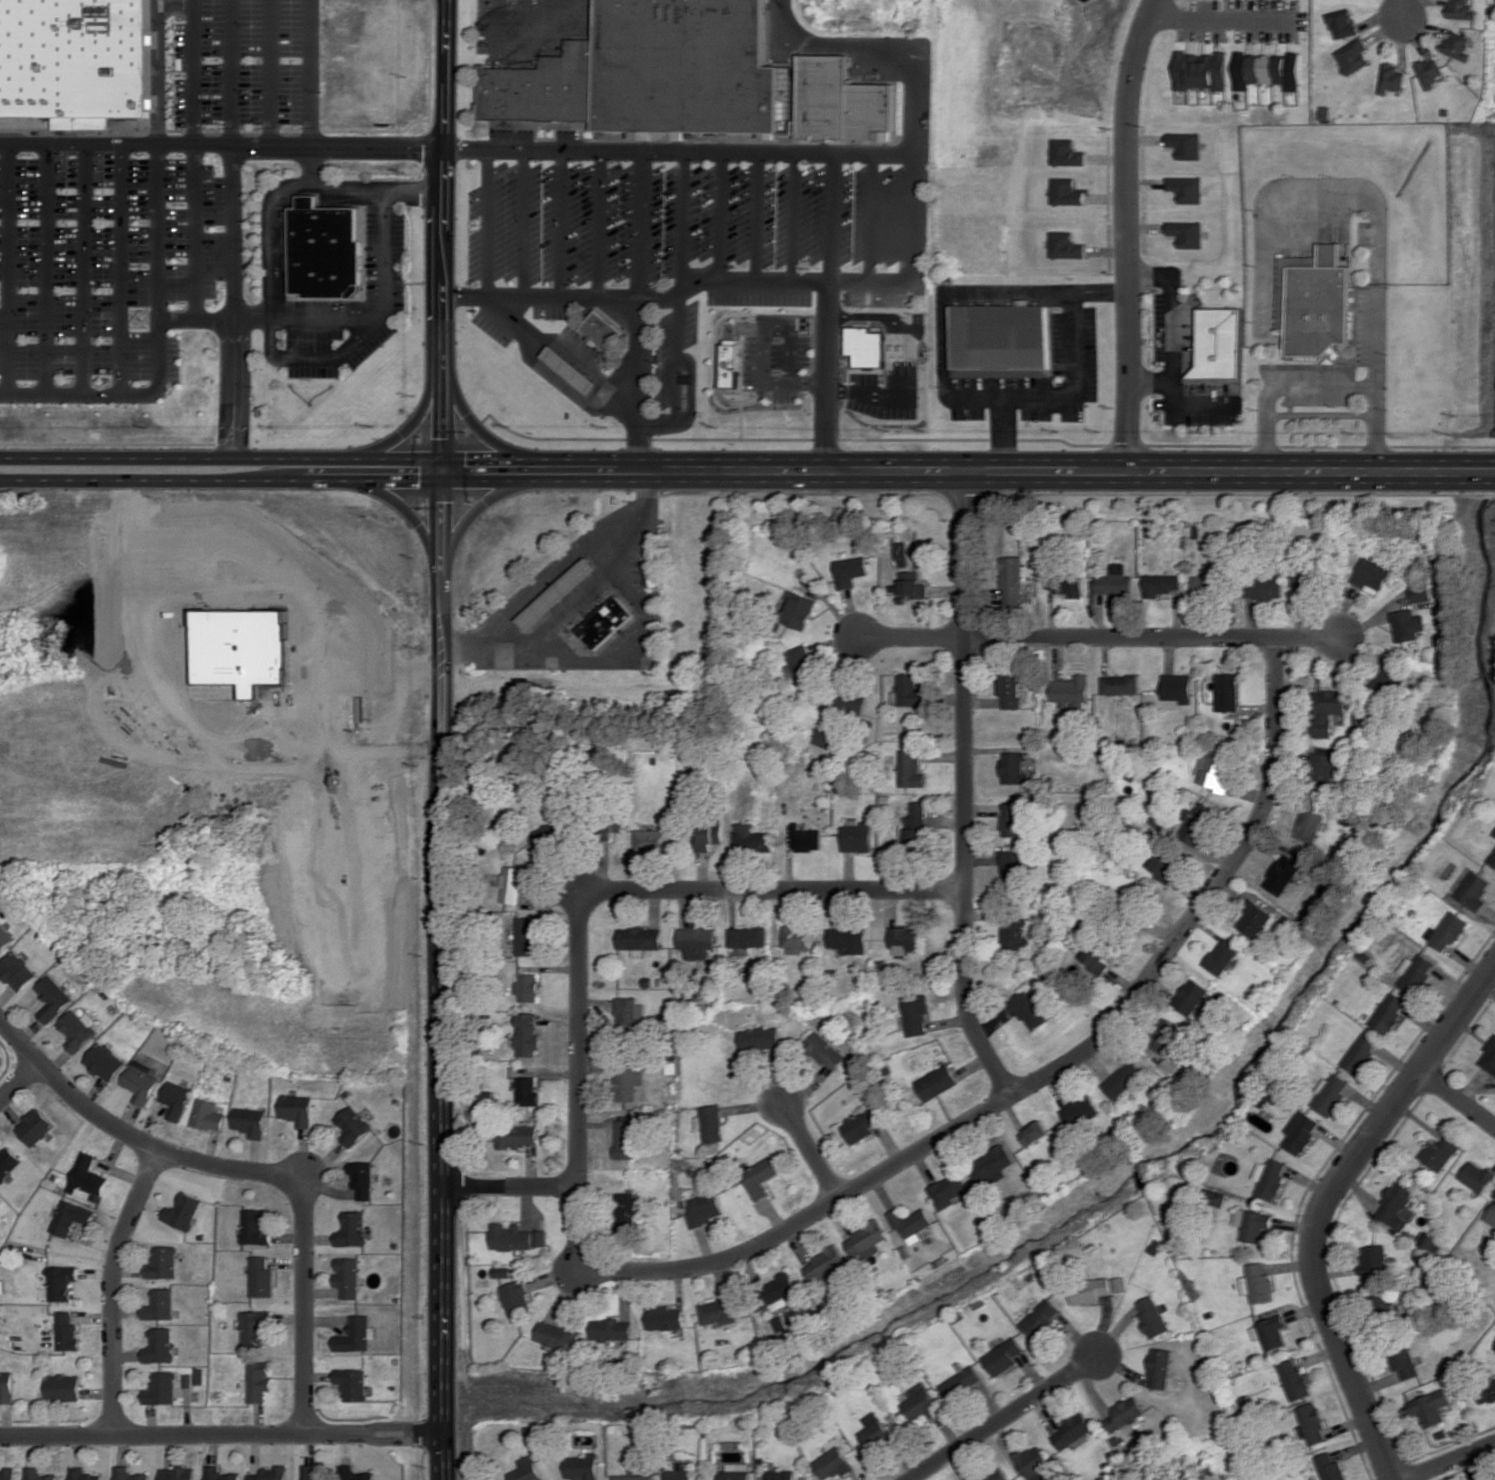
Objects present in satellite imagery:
road: (1397, 6)
building: (1462, 9)
building: (1341, 22)
road: (1219, 23)
building: (1458, 46)
building: (1352, 56)
building: (77, 61)
building: (1267, 70)
building: (1202, 71)
building: (1429, 72)
road: (268, 73)
building: (650, 75)
building: (1390, 78)
road: (305, 98)
building: (845, 101)
building: (482, 126)
building: (1186, 145)
road: (223, 147)
building: (1067, 152)
road: (681, 158)
road: (193, 163)
building: (1185, 188)
building: (1067, 192)
road: (916, 194)
parking lot: (146, 210)
road: (717, 222)
road: (754, 222)
road: (791, 222)
road: (832, 222)
road: (872, 222)
road: (231, 227)
road: (488, 228)
road: (524, 229)
road: (561, 229)
road: (597, 229)
road: (638, 229)
parking lot: (701, 230)
road: (1124, 233)
building: (1185, 233)
road: (1380, 235)
building: (1066, 245)
building: (325, 256)
road: (3, 273)
road: (42, 273)
road: (80, 273)
road: (118, 274)
road: (985, 297)
road: (562, 301)
building: (1313, 302)
road: (677, 312)
parking lot: (346, 316)
road: (271, 322)
road: (900, 324)
road: (269, 326)
road: (780, 326)
parking lot: (494, 330)
building: (609, 331)
building: (1008, 338)
building: (1217, 343)
building: (867, 346)
parking lot: (584, 349)
road: (156, 350)
road: (569, 351)
building: (734, 363)
parking lot: (782, 364)
building: (572, 369)
road: (829, 377)
road: (797, 383)
road: (637, 385)
road: (1281, 387)
road: (695, 393)
road: (868, 393)
road: (1063, 401)
road: (403, 429)
road: (1378, 430)
road: (1000, 437)
road: (487, 438)
road: (224, 456)
road: (971, 471)
road: (224, 477)
road: (489, 500)
road: (399, 506)
building: (850, 570)
building: (654, 573)
building: (1371, 573)
road: (544, 578)
building: (1013, 580)
building: (1115, 582)
building: (911, 584)
building: (1161, 584)
building: (1206, 584)
building: (1067, 585)
building: (1278, 585)
building: (558, 594)
road: (569, 607)
building: (799, 610)
building: (605, 622)
building: (1406, 625)
road: (631, 637)
road: (1101, 637)
building: (802, 663)
building: (1387, 677)
building: (1120, 684)
building: (1177, 687)
building: (1011, 690)
building: (908, 691)
building: (1071, 691)
building: (1226, 692)
building: (849, 701)
building: (1327, 709)
road: (448, 739)
park: (225, 764)
building: (1323, 766)
building: (1214, 767)
building: (910, 768)
building: (1014, 768)
road: (965, 789)
building: (1011, 819)
building: (1159, 820)
building: (1196, 823)
building: (1308, 824)
building: (916, 826)
building: (711, 834)
building: (1494, 834)
building: (550, 835)
building: (751, 838)
building: (806, 838)
building: (856, 838)
building: (656, 840)
building: (1492, 859)
building: (1013, 866)
building: (1163, 866)
building: (1281, 874)
building: (512, 883)
road: (773, 890)
building: (1475, 891)
building: (1253, 919)
building: (1447, 931)
building: (1014, 934)
building: (526, 936)
building: (747, 936)
building: (4, 938)
building: (798, 938)
building: (639, 939)
building: (904, 939)
building: (848, 940)
building: (696, 941)
building: (1221, 956)
building: (1094, 959)
building: (16, 971)
building: (1416, 972)
building: (527, 987)
building: (1190, 996)
building: (52, 998)
building: (1029, 1010)
building: (629, 1012)
building: (916, 1013)
building: (1389, 1014)
building: (77, 1031)
building: (527, 1035)
building: (1166, 1035)
building: (760, 1038)
building: (825, 1050)
building: (1361, 1052)
building: (1489, 1057)
building: (106, 1062)
park: (5, 1063)
road: (1052, 1072)
building: (1122, 1079)
road: (19, 1081)
building: (628, 1082)
building: (937, 1082)
road: (579, 1083)
building: (141, 1084)
building: (527, 1092)
building: (1330, 1094)
road: (1456, 1098)
building: (176, 1099)
building: (296, 1109)
building: (1080, 1111)
building: (208, 1115)
building: (249, 1122)
building: (710, 1123)
building: (352, 1125)
building: (861, 1125)
building: (36, 1126)
building: (1301, 1131)
building: (1034, 1133)
road: (129, 1135)
building: (517, 1136)
building: (626, 1139)
road: (810, 1149)
building: (1439, 1153)
building: (9, 1163)
building: (991, 1164)
building: (1477, 1176)
building: (760, 1177)
building: (1270, 1177)
building: (362, 1178)
building: (89, 1179)
road: (513, 1186)
building: (949, 1190)
building: (1219, 1198)
road: (1323, 1202)
building: (1396, 1206)
building: (704, 1209)
building: (185, 1210)
building: (625, 1210)
building: (1491, 1216)
building: (72, 1217)
building: (911, 1223)
building: (1252, 1224)
building: (256, 1227)
building: (355, 1229)
building: (511, 1237)
building: (866, 1238)
building: (1373, 1259)
building: (164, 1262)
building: (825, 1262)
building: (349, 1276)
building: (261, 1277)
building: (61, 1282)
building: (1256, 1282)
building: (1118, 1283)
building: (781, 1286)
road: (112, 1289)
building: (1090, 1290)
building: (517, 1297)
building: (1383, 1301)
building: (160, 1305)
road: (305, 1307)
building: (719, 1311)
building: (1151, 1316)
building: (666, 1317)
building: (1042, 1318)
building: (255, 1328)
building: (611, 1329)
building: (66, 1332)
building: (1269, 1332)
building: (356, 1334)
building: (560, 1336)
building: (160, 1345)
building: (1004, 1356)
building: (1404, 1362)
building: (1160, 1368)
building: (1294, 1379)
building: (259, 1380)
building: (961, 1382)
building: (353, 1383)
building: (6, 1387)
building: (62, 1387)
building: (161, 1388)
building: (1486, 1390)
building: (920, 1401)
building: (1430, 1406)
building: (1125, 1413)
road: (1004, 1417)
building: (1311, 1424)
road: (392, 1427)
building: (1071, 1430)
building: (876, 1432)
road: (226, 1436)
building: (1033, 1462)
building: (834, 1463)
road: (1447, 1463)
building: (583, 1467)
building: (1330, 1467)
building: (527, 1469)
building: (313, 1471)
building: (736, 1471)
building: (178, 1473)
building: (271, 1473)
building: (355, 1473)
building: (7, 1474)
building: (38, 1474)
building: (84, 1474)
building: (129, 1474)
building: (220, 1474)
building: (679, 1474)
building: (782, 1475)
building: (996, 1475)
building: (634, 1477)

